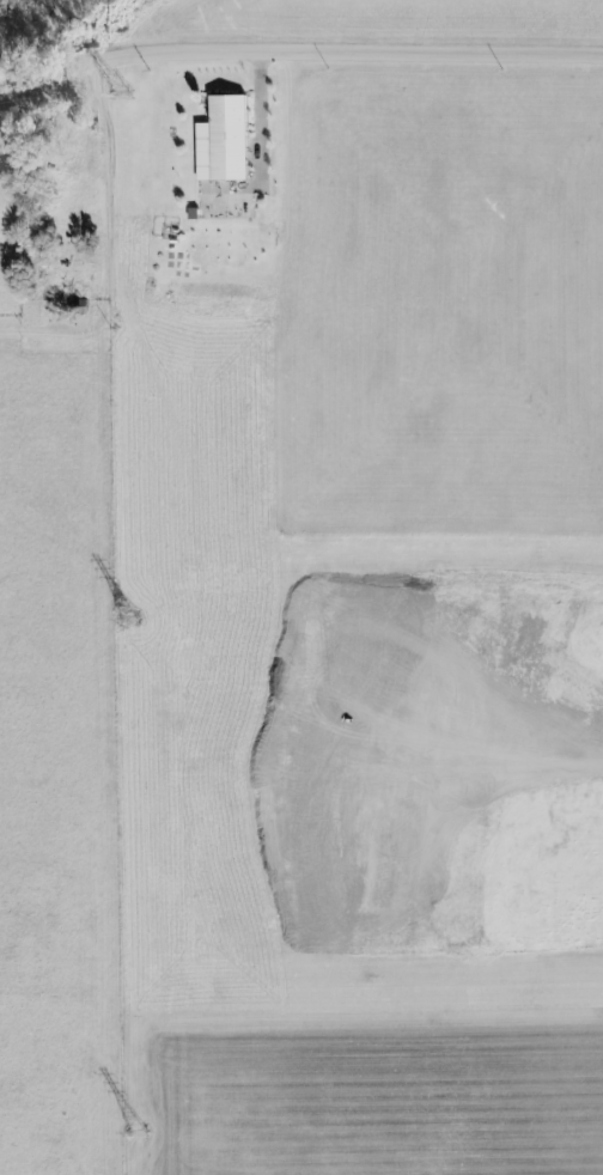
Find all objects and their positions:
road: (298, 51)
power tower: (126, 97)
building: (224, 138)
road: (260, 146)
road: (109, 246)
power tower: (127, 622)
power tower: (140, 1137)

